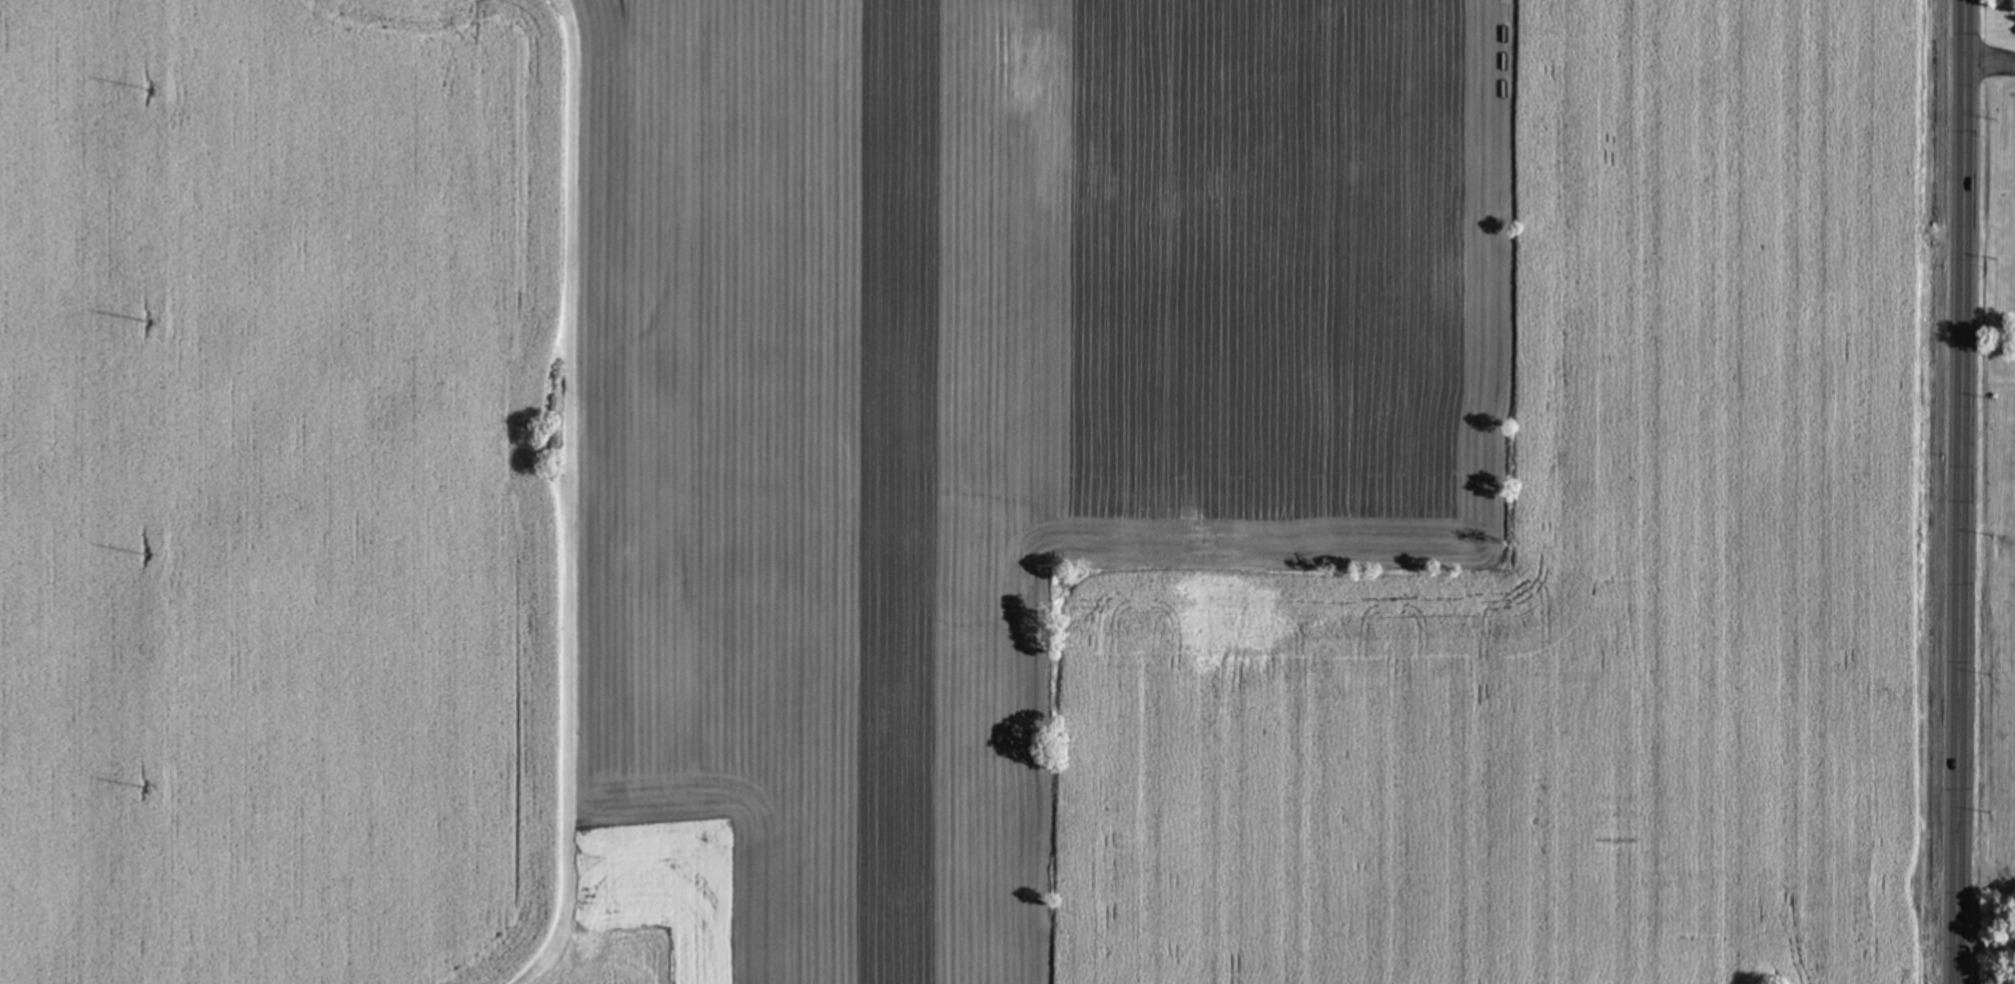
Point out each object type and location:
road: (1990, 52)
road: (1959, 491)

